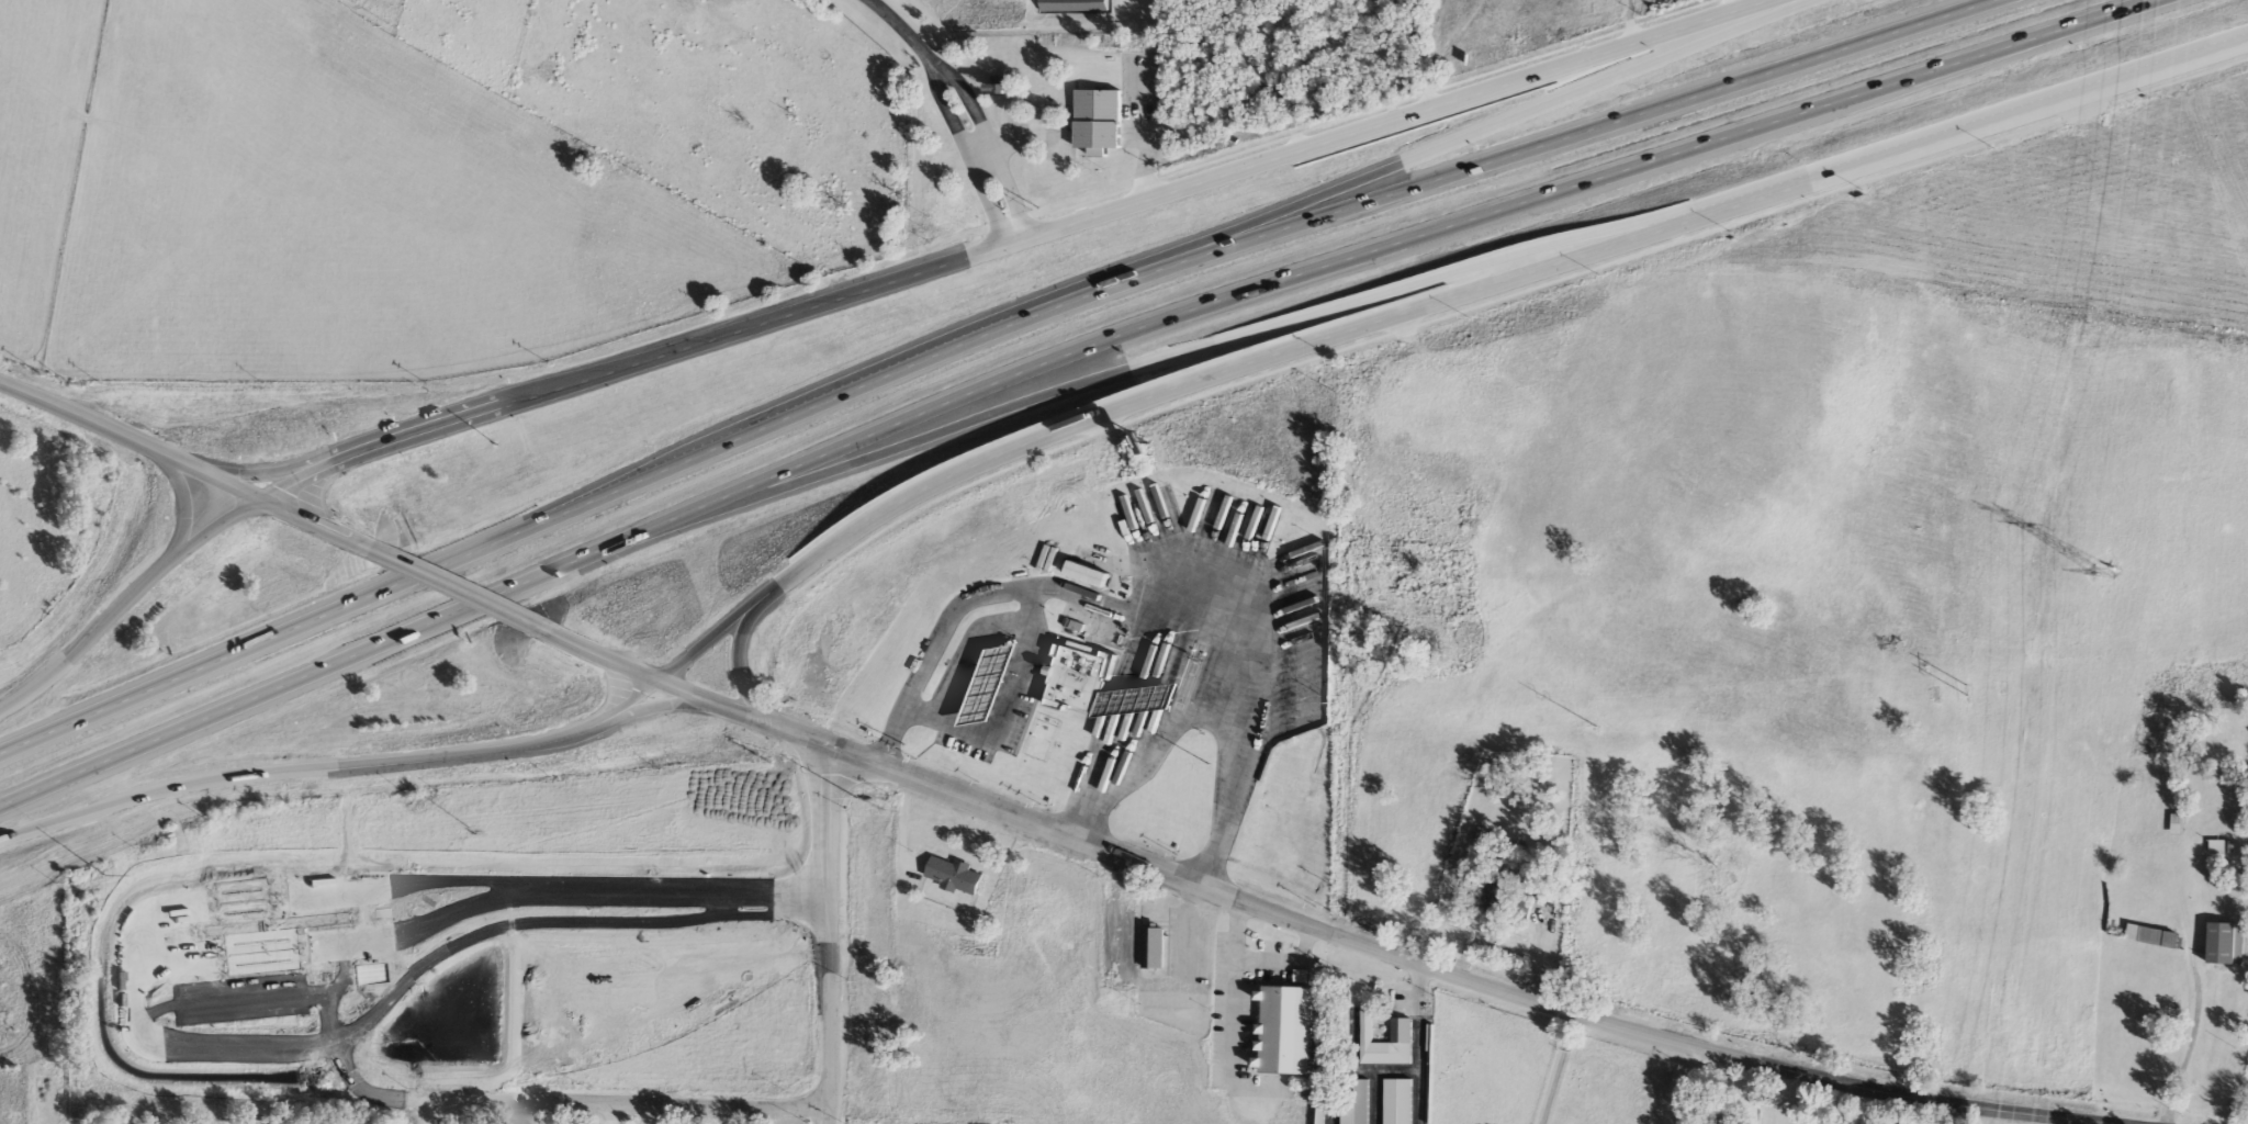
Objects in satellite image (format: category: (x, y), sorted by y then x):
road: (900, 27)
road: (1347, 119)
road: (1406, 120)
building: (1094, 122)
road: (987, 143)
road: (964, 154)
road: (1244, 241)
road: (1365, 249)
road: (1162, 255)
road: (1505, 297)
road: (1426, 307)
road: (1176, 353)
road: (641, 363)
road: (130, 438)
road: (263, 474)
road: (187, 509)
road: (303, 524)
road: (1151, 564)
road: (439, 565)
power tower: (2104, 574)
building: (1084, 575)
road: (445, 587)
road: (491, 596)
road: (125, 604)
building: (1419, 621)
road: (597, 655)
road: (740, 670)
road: (179, 676)
building: (991, 682)
power tower: (1972, 686)
building: (1105, 687)
road: (723, 706)
road: (1005, 709)
road: (192, 722)
power tower: (1600, 724)
road: (599, 728)
road: (563, 732)
road: (1137, 744)
power tower: (1209, 763)
road: (225, 778)
power tower: (859, 799)
building: (2221, 802)
building: (2185, 820)
power tower: (479, 833)
power tower: (103, 873)
building: (951, 876)
building: (1503, 900)
road: (829, 935)
building: (2153, 937)
building: (2222, 944)
building: (1148, 948)
road: (1281, 955)
road: (1442, 971)
road: (2189, 989)
road: (1236, 991)
road: (134, 994)
building: (1282, 1031)
building: (1398, 1031)
road: (1417, 1044)
road: (1556, 1068)
building: (1394, 1101)
road: (639, 1102)
building: (1353, 1104)
road: (438, 1113)

